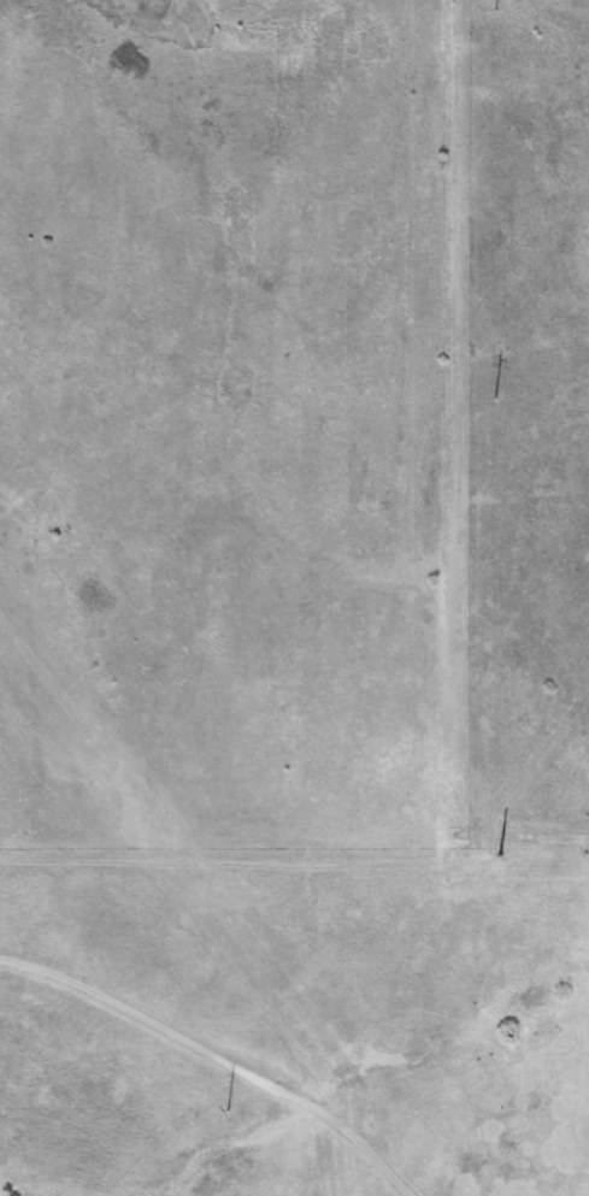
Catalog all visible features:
road: (217, 1054)

